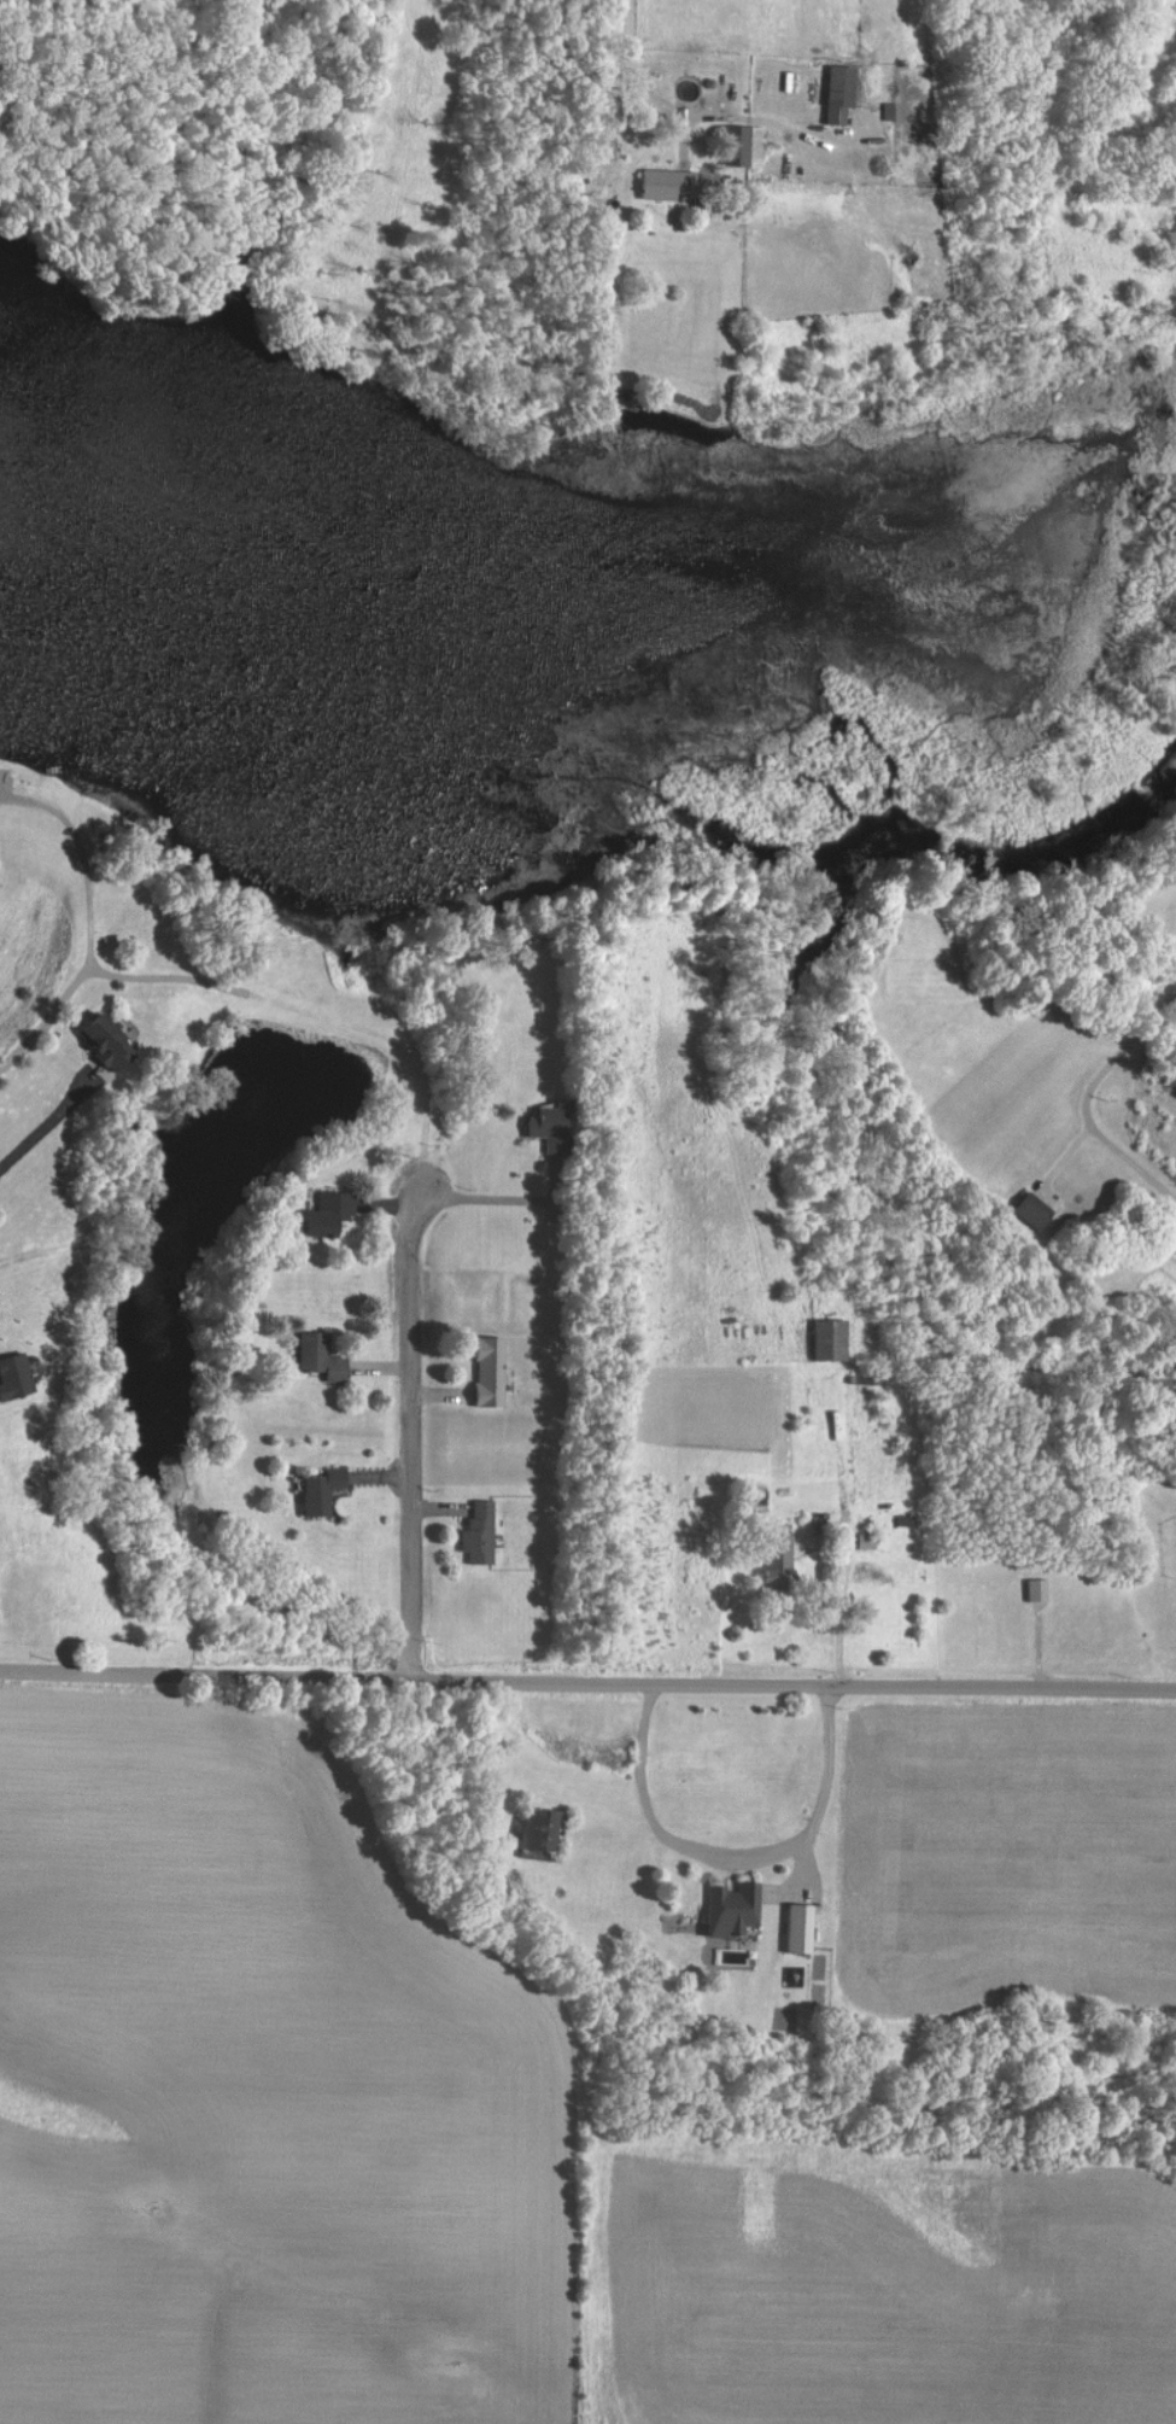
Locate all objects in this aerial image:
road: (626, 71)
building: (835, 92)
building: (745, 145)
building: (673, 183)
building: (116, 1044)
road: (1087, 1097)
building: (550, 1122)
road: (41, 1127)
building: (1029, 1209)
building: (338, 1214)
building: (825, 1338)
building: (329, 1362)
building: (495, 1372)
building: (19, 1377)
road: (409, 1438)
building: (327, 1490)
building: (484, 1534)
building: (780, 1552)
building: (1034, 1588)
road: (838, 1620)
road: (587, 1689)
building: (554, 1830)
road: (736, 1864)
building: (741, 1906)
building: (795, 1927)

